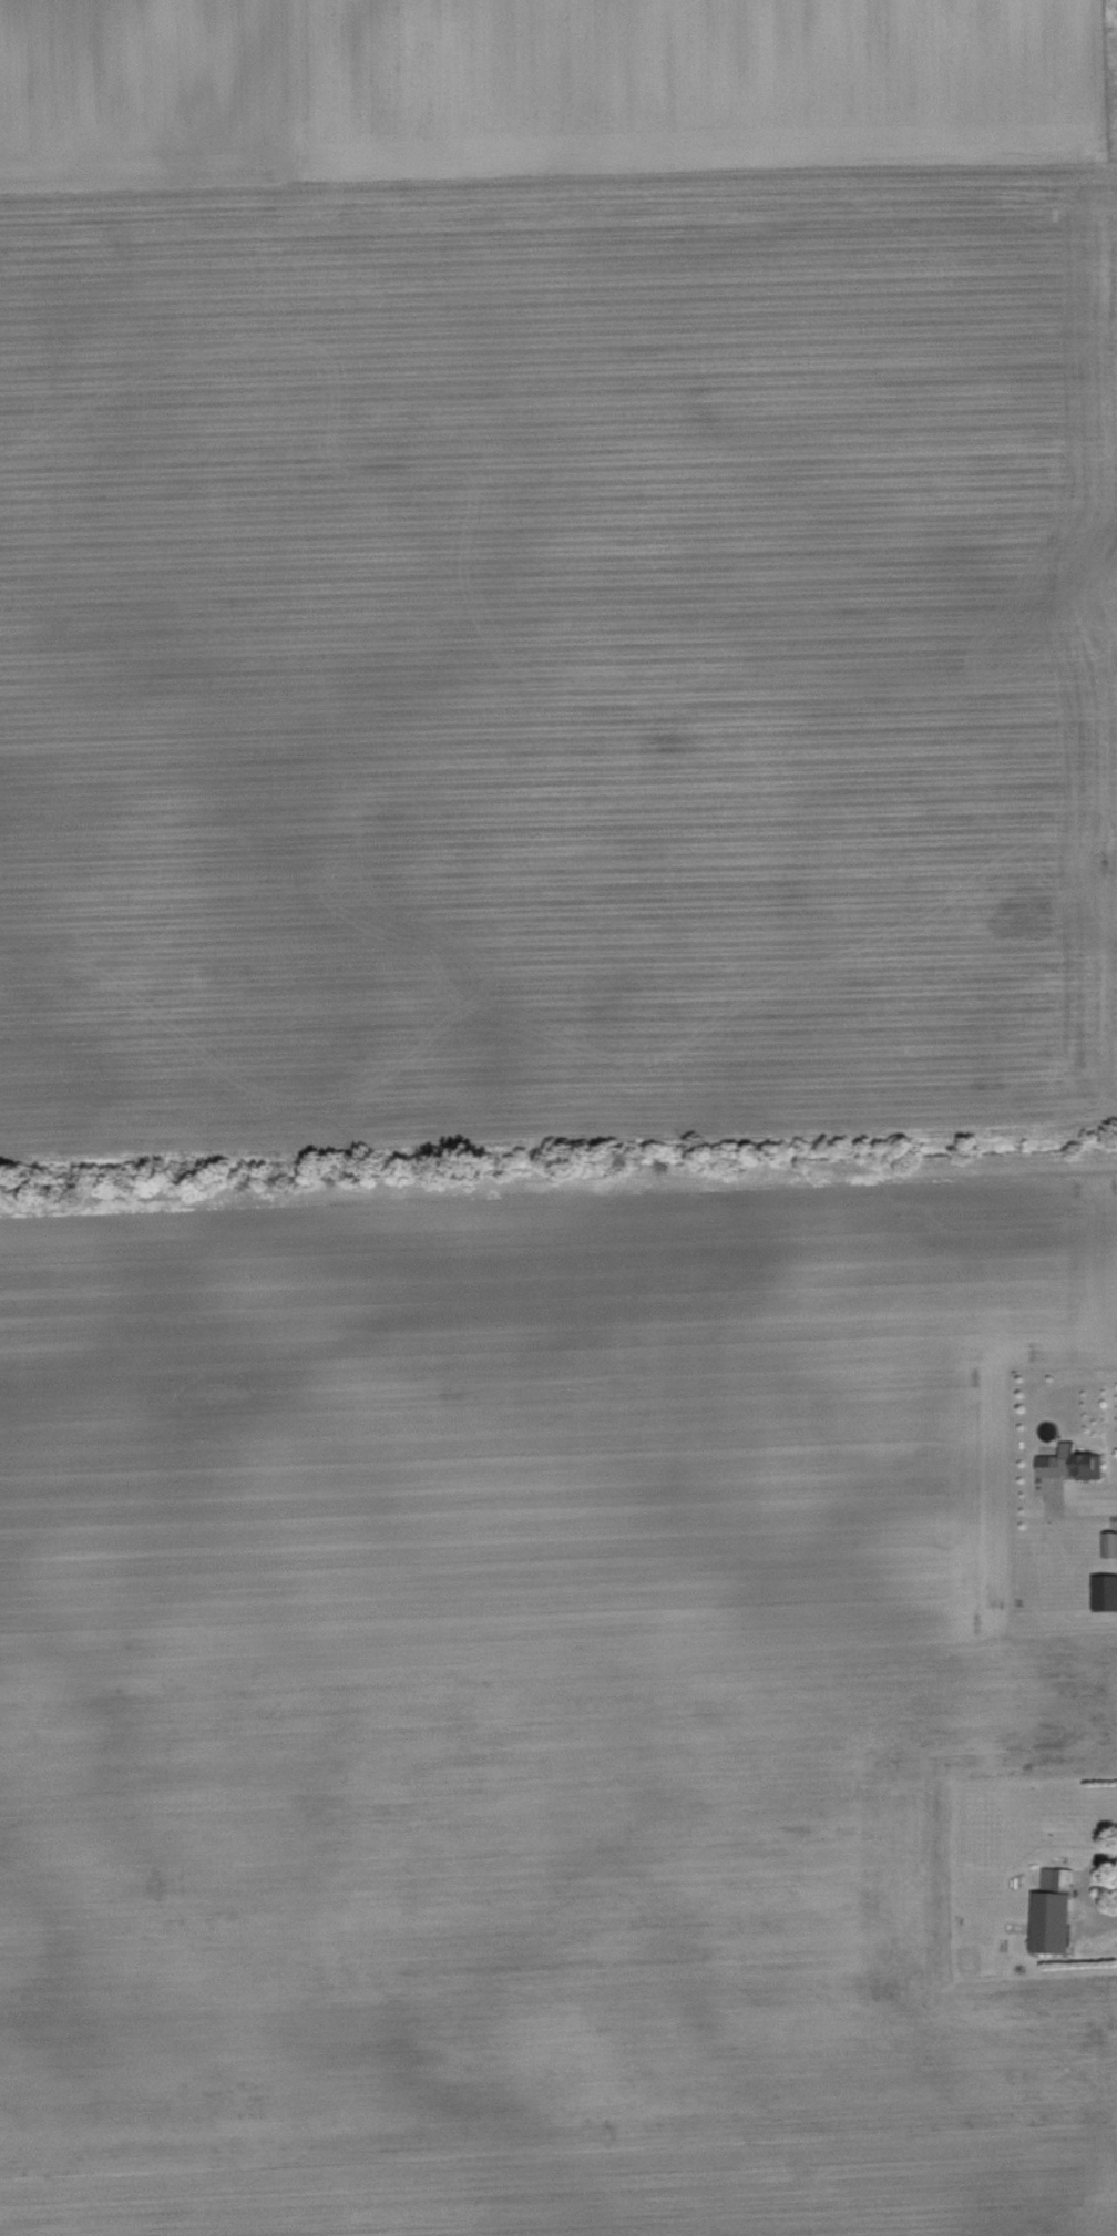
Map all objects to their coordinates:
crop: (558, 1118)
building: (1073, 1459)
road: (1089, 1505)
building: (1116, 1542)
building: (1055, 1908)

